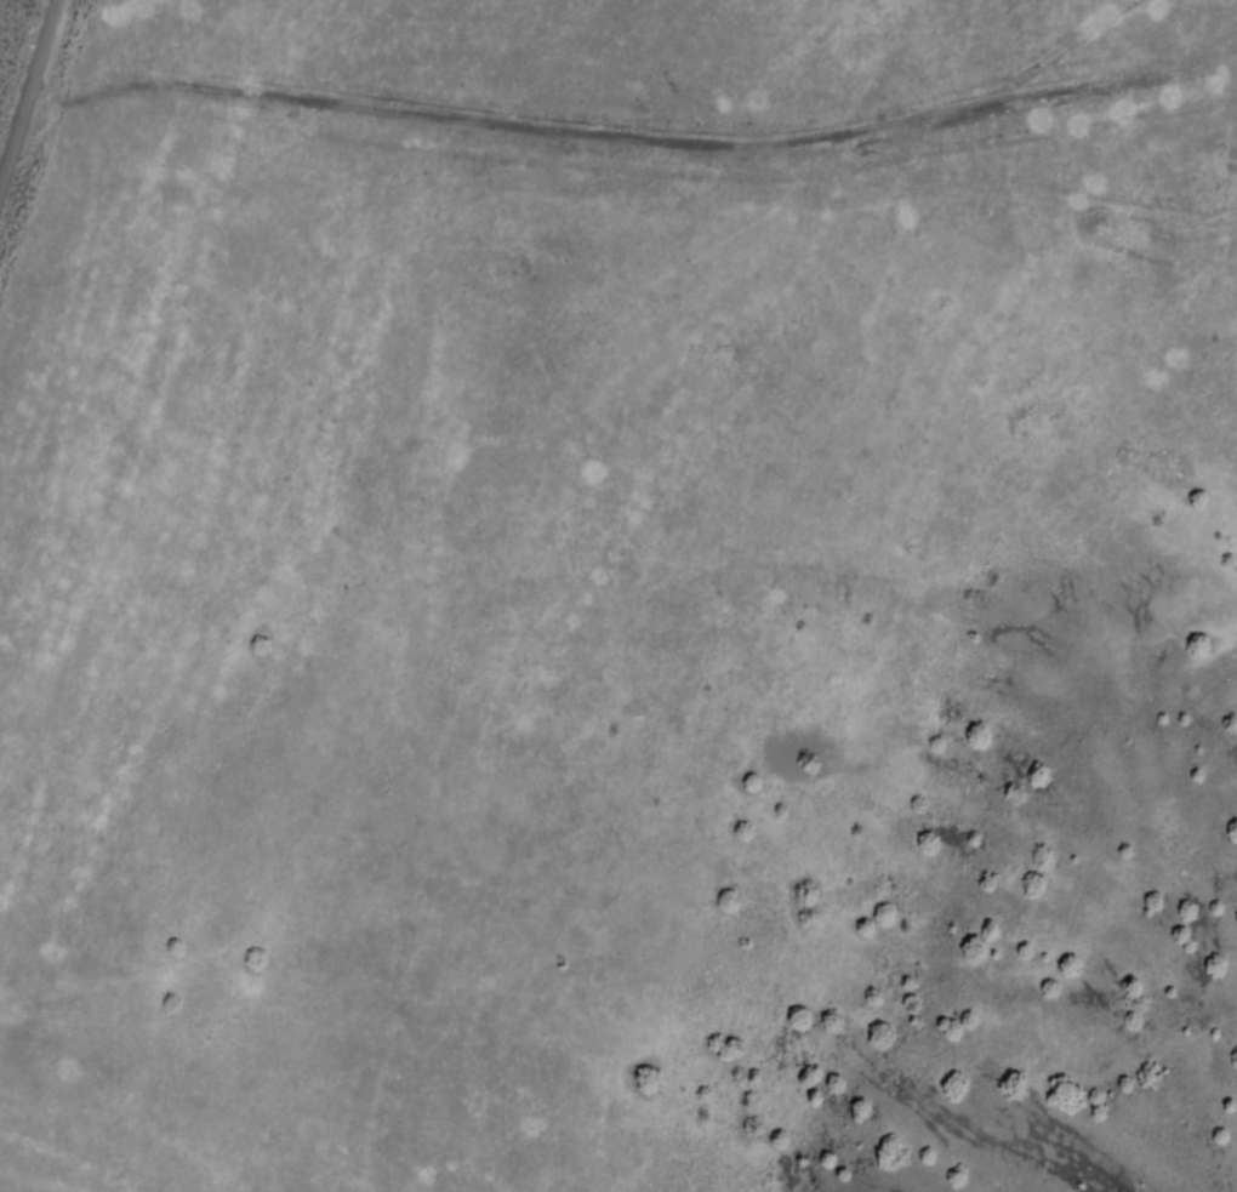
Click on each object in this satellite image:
road: (32, 99)
road: (403, 108)

